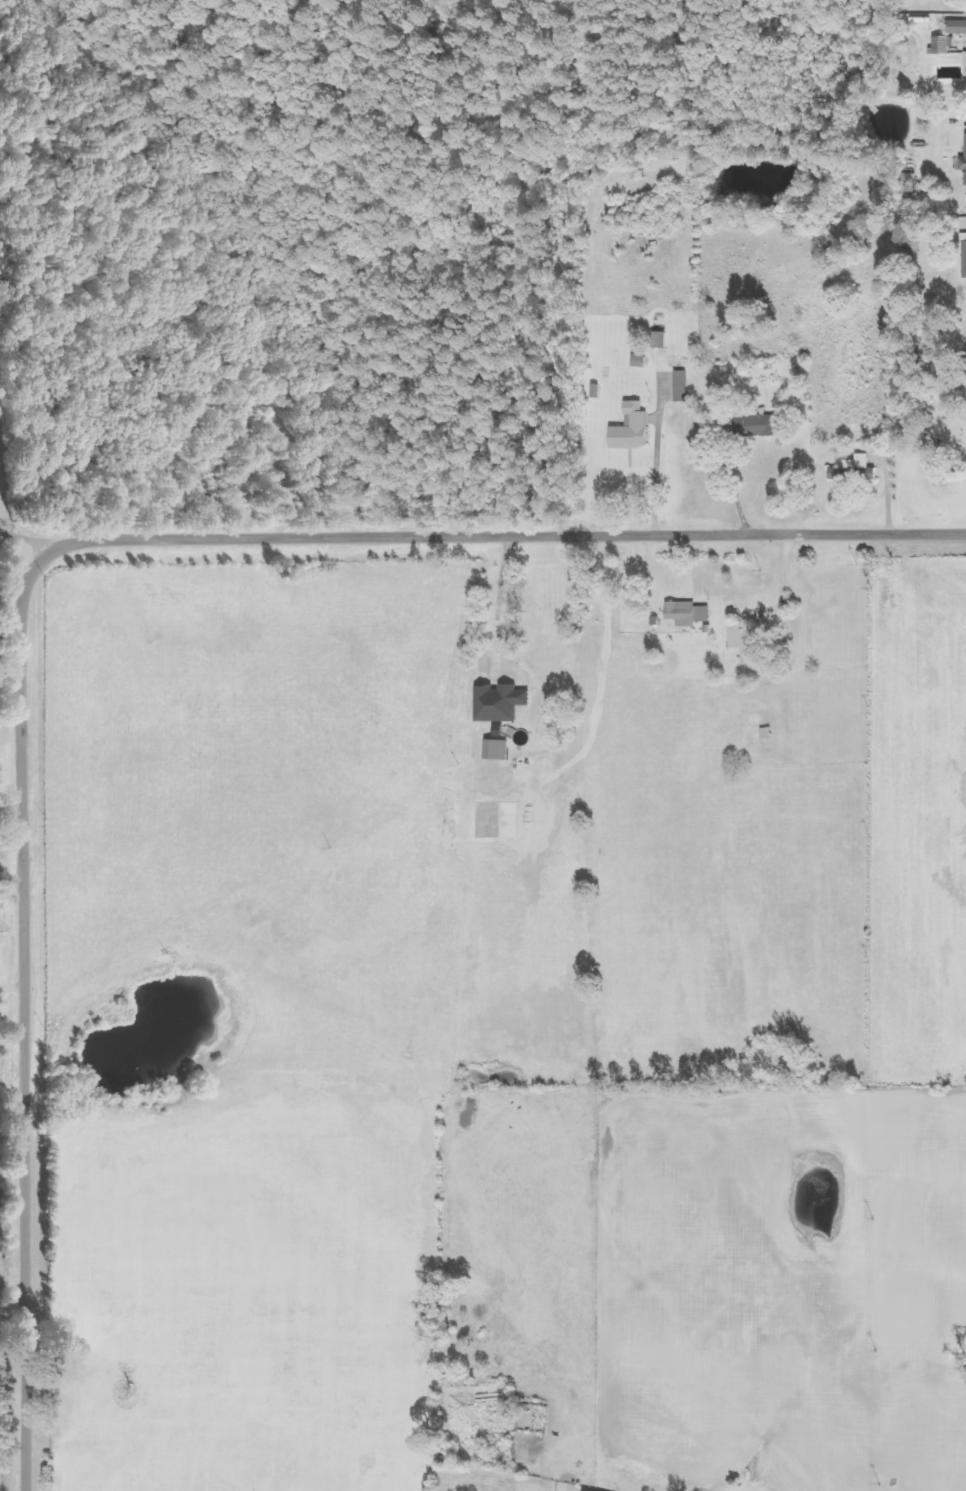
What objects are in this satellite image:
building: (959, 27)
building: (946, 45)
building: (965, 164)
building: (913, 183)
building: (765, 426)
building: (636, 428)
road: (39, 561)
building: (691, 613)
building: (749, 642)
building: (505, 703)
building: (501, 750)
road: (11, 895)

